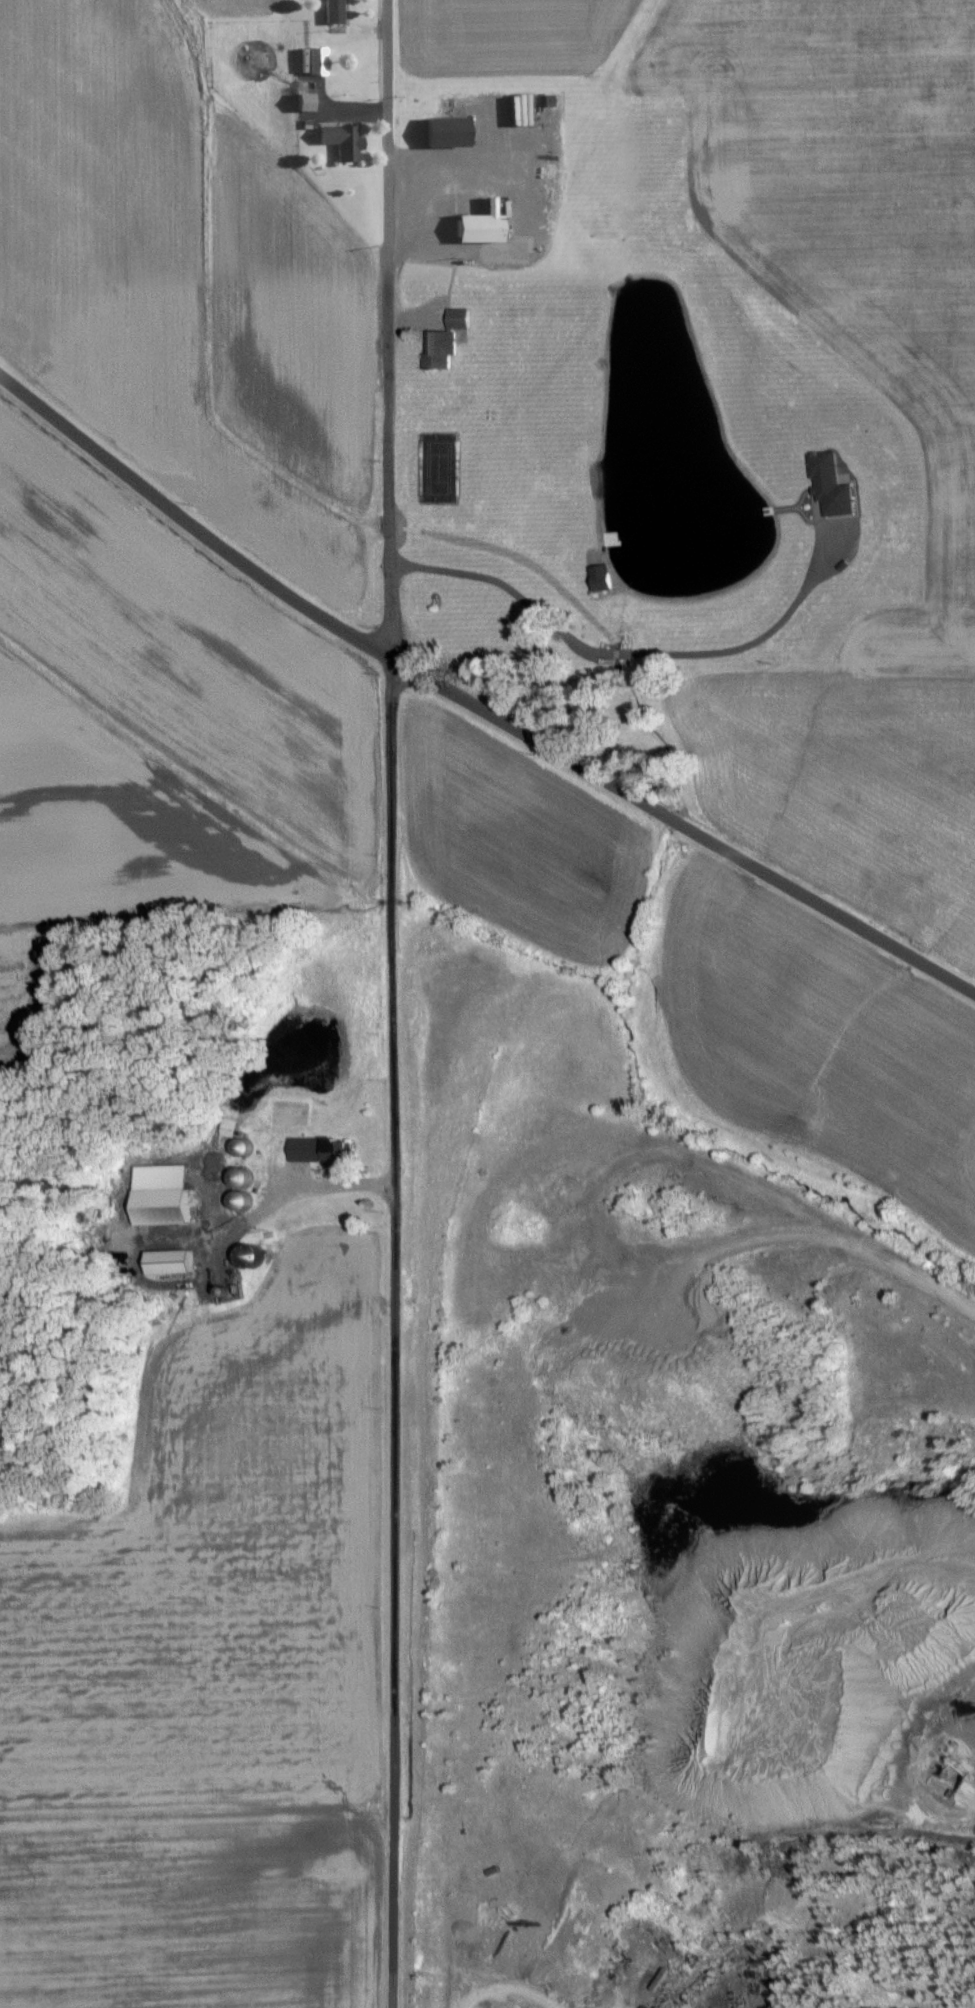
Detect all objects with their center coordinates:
building: (328, 11)
building: (309, 60)
building: (297, 101)
building: (437, 132)
building: (335, 141)
road: (518, 210)
building: (471, 225)
building: (441, 338)
park: (436, 466)
building: (823, 485)
building: (606, 538)
building: (595, 578)
road: (635, 658)
road: (476, 713)
road: (391, 1003)
building: (228, 1135)
building: (310, 1147)
building: (231, 1188)
building: (153, 1205)
building: (159, 1261)
quarry: (664, 1548)
building: (662, 1979)

